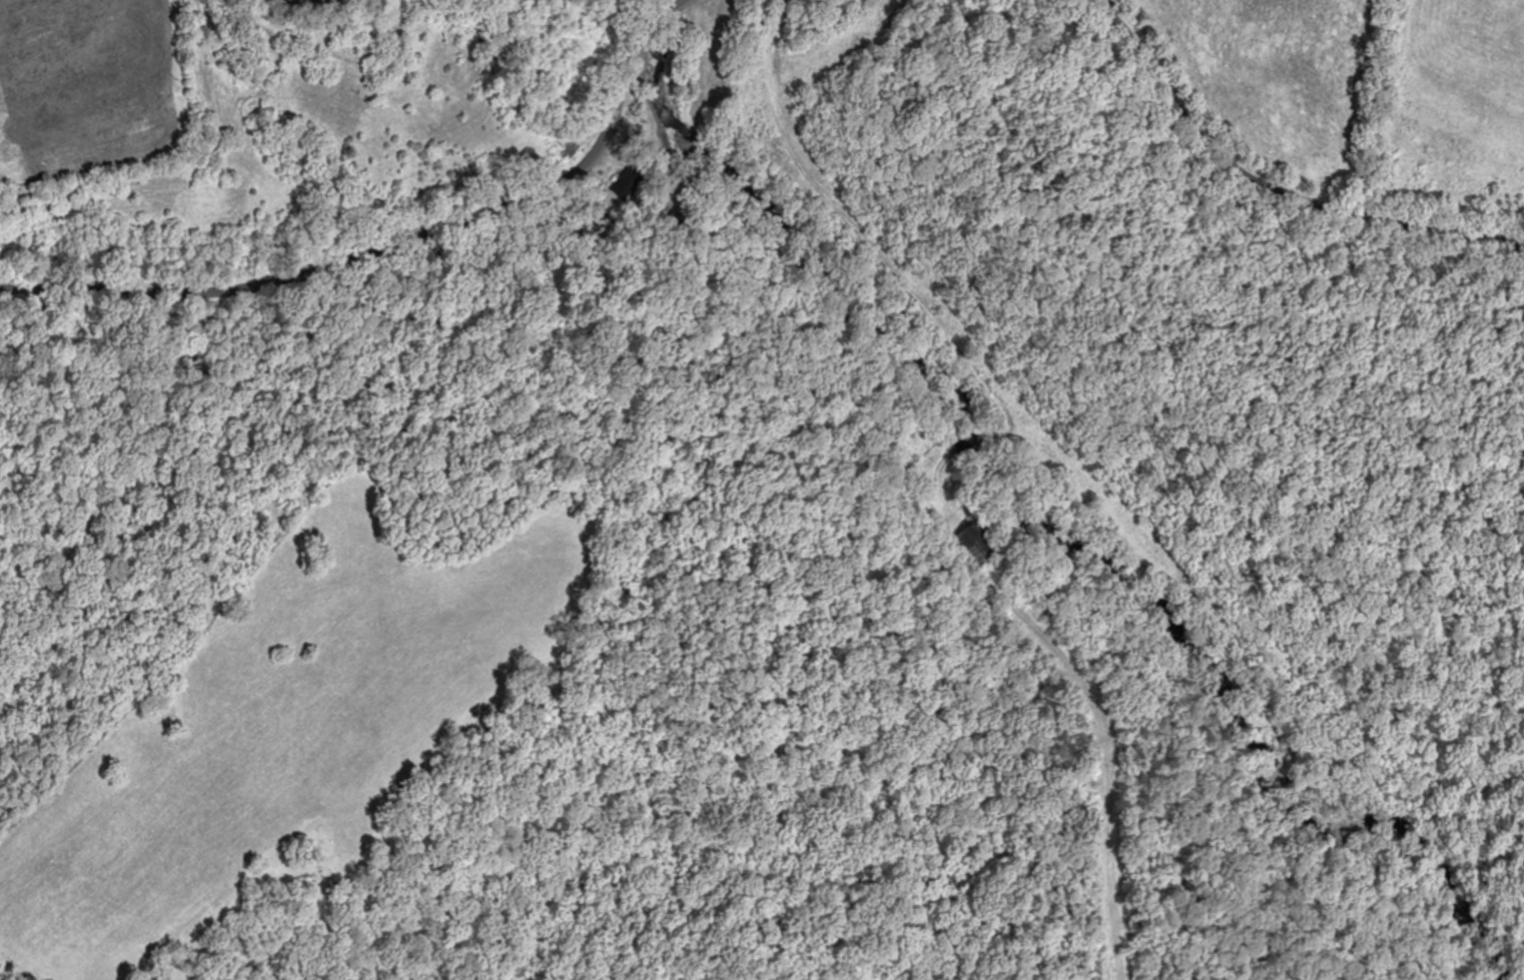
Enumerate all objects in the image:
building: (668, 116)
road: (1271, 188)
road: (395, 243)
building: (975, 545)

